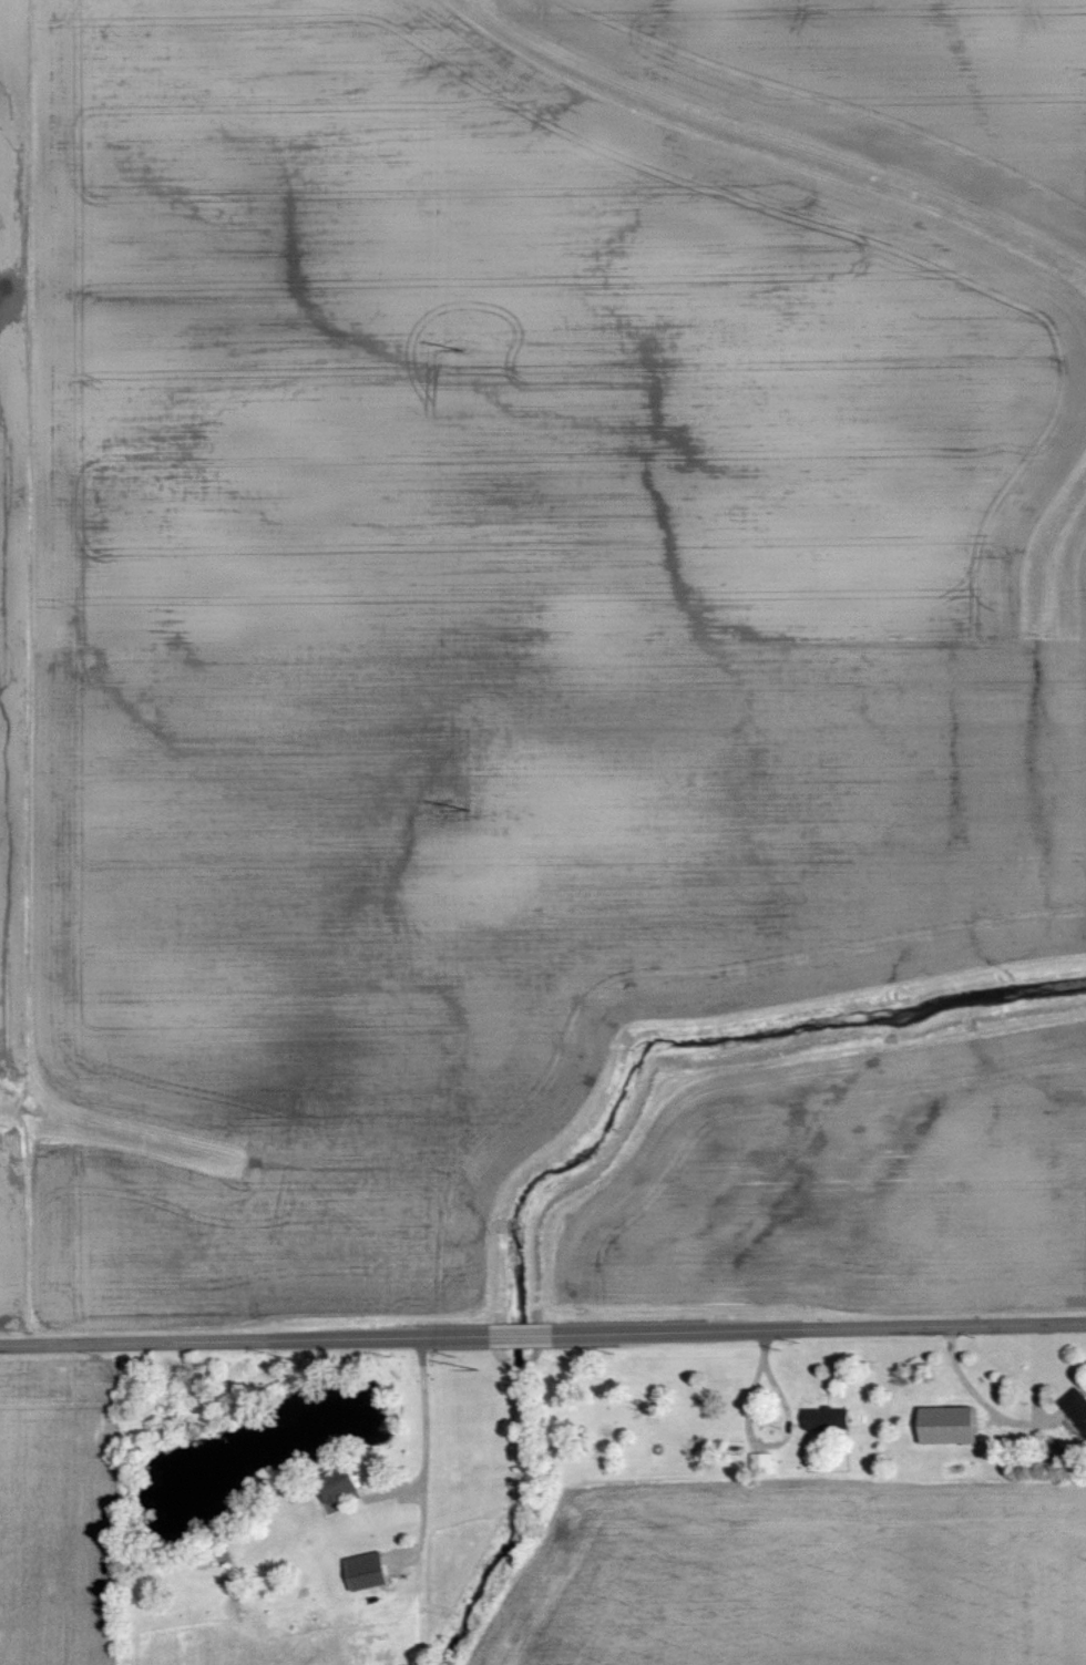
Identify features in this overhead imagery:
power tower: (462, 349)
power tower: (470, 809)
road: (542, 1333)
road: (764, 1345)
power tower: (477, 1367)
road: (971, 1385)
building: (1077, 1404)
building: (829, 1417)
building: (950, 1425)
road: (770, 1443)
road: (426, 1453)
building: (764, 1461)
building: (338, 1483)
road: (414, 1487)
crop: (60, 1512)
building: (369, 1570)
crop: (791, 1573)

